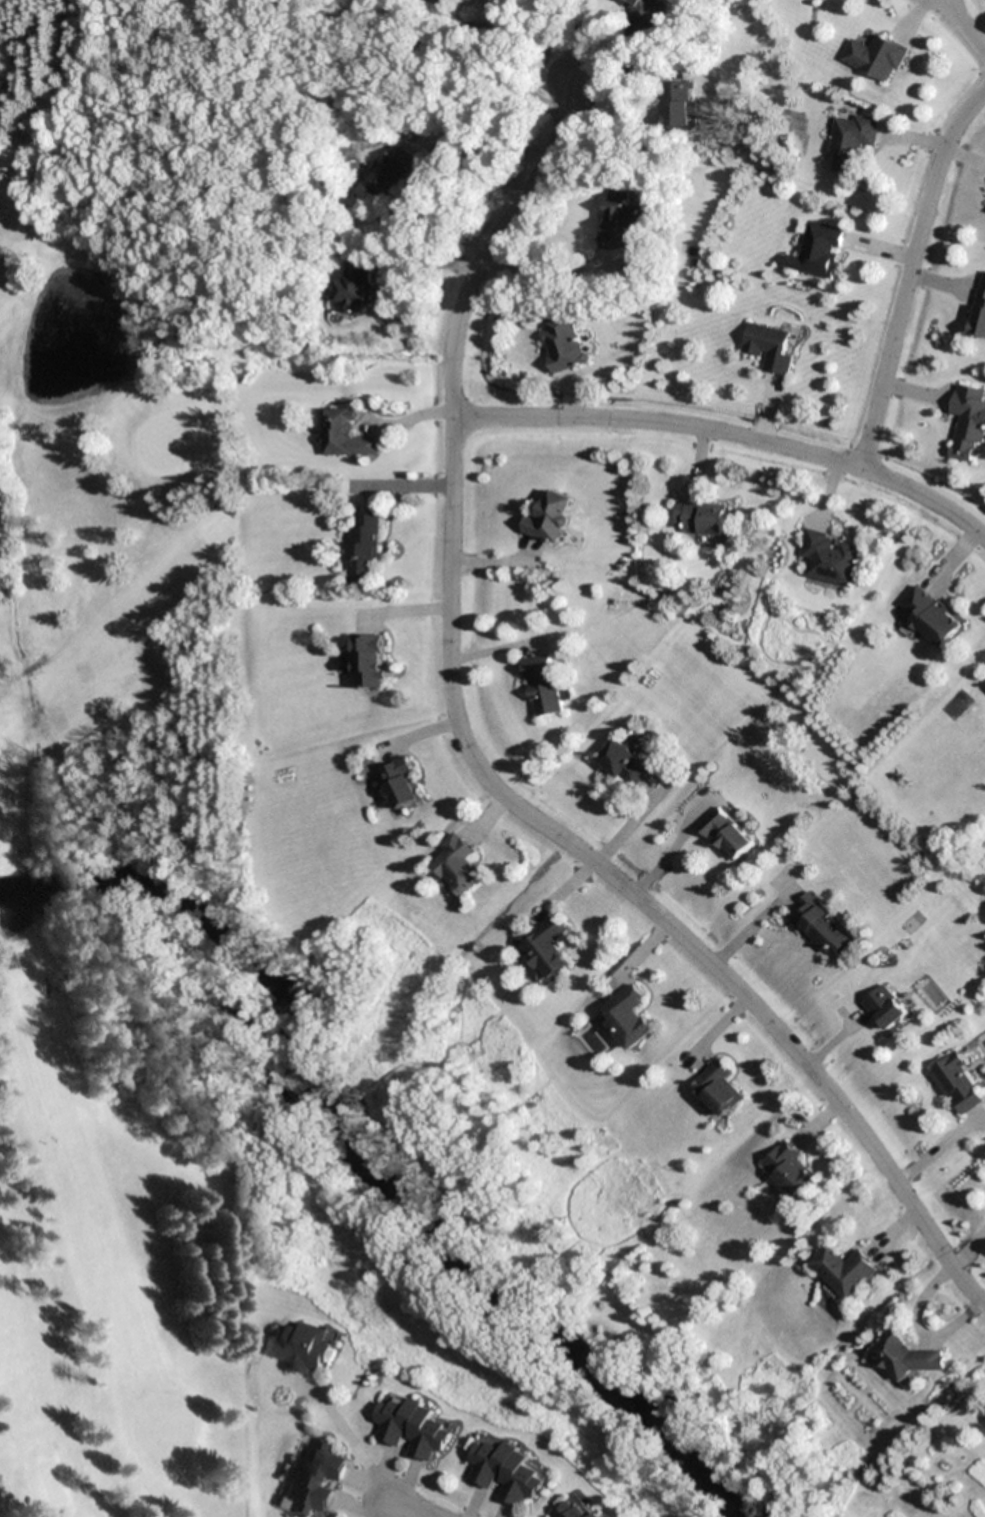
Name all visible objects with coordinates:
building: (442, 1)
building: (648, 9)
road: (966, 25)
building: (876, 57)
building: (679, 105)
building: (852, 142)
building: (393, 172)
building: (622, 221)
building: (819, 250)
road: (911, 277)
building: (357, 285)
building: (979, 311)
building: (563, 343)
building: (769, 347)
road: (497, 418)
building: (967, 421)
building: (342, 435)
road: (774, 446)
building: (549, 518)
building: (700, 518)
building: (361, 548)
building: (830, 558)
building: (929, 618)
building: (372, 662)
building: (544, 686)
park: (123, 754)
building: (623, 765)
road: (486, 775)
building: (404, 783)
building: (728, 835)
building: (460, 865)
building: (822, 927)
building: (548, 950)
building: (885, 1008)
building: (629, 1018)
building: (957, 1084)
building: (720, 1088)
river: (367, 1165)
building: (792, 1170)
building: (849, 1271)
building: (300, 1349)
building: (908, 1357)
building: (411, 1428)
building: (507, 1472)
building: (313, 1477)
road: (407, 1510)
building: (571, 1510)
building: (597, 1514)

